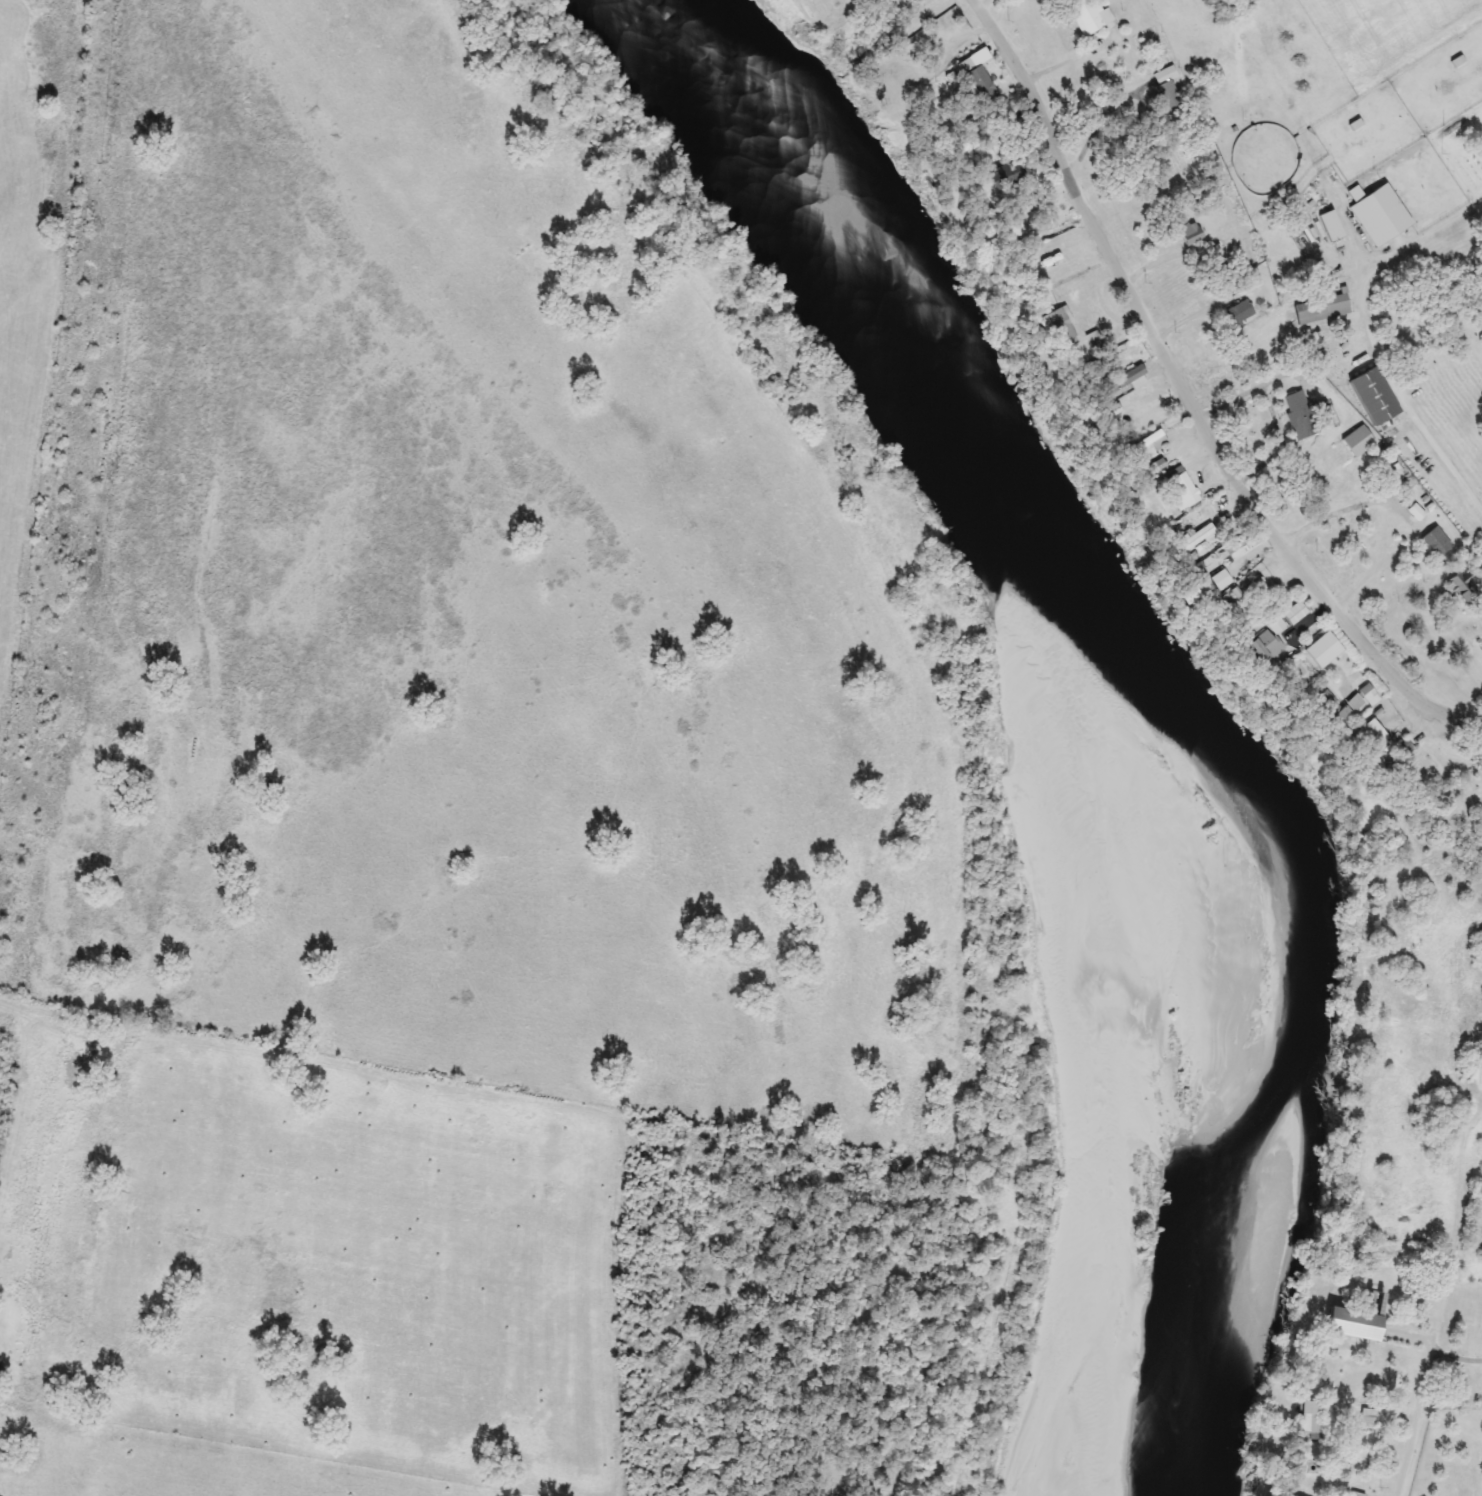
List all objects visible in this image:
building: (1088, 16)
road: (1069, 62)
building: (981, 85)
building: (1167, 94)
building: (1007, 175)
building: (1379, 214)
building: (1331, 226)
building: (1014, 227)
building: (1191, 233)
building: (1322, 309)
building: (1239, 312)
building: (1058, 328)
road: (1369, 336)
building: (1125, 382)
building: (1374, 396)
road: (1191, 401)
building: (1134, 402)
building: (1299, 416)
building: (1358, 442)
building: (1180, 489)
building: (1195, 537)
building: (1434, 544)
building: (1221, 580)
building: (1463, 589)
building: (1295, 613)
building: (1266, 646)
river: (1173, 685)
building: (1369, 696)
building: (1348, 709)
building: (1371, 737)
building: (1404, 750)
building: (1355, 1325)
road: (1437, 1354)
building: (1367, 1417)
building: (1310, 1419)
building: (1355, 1495)

